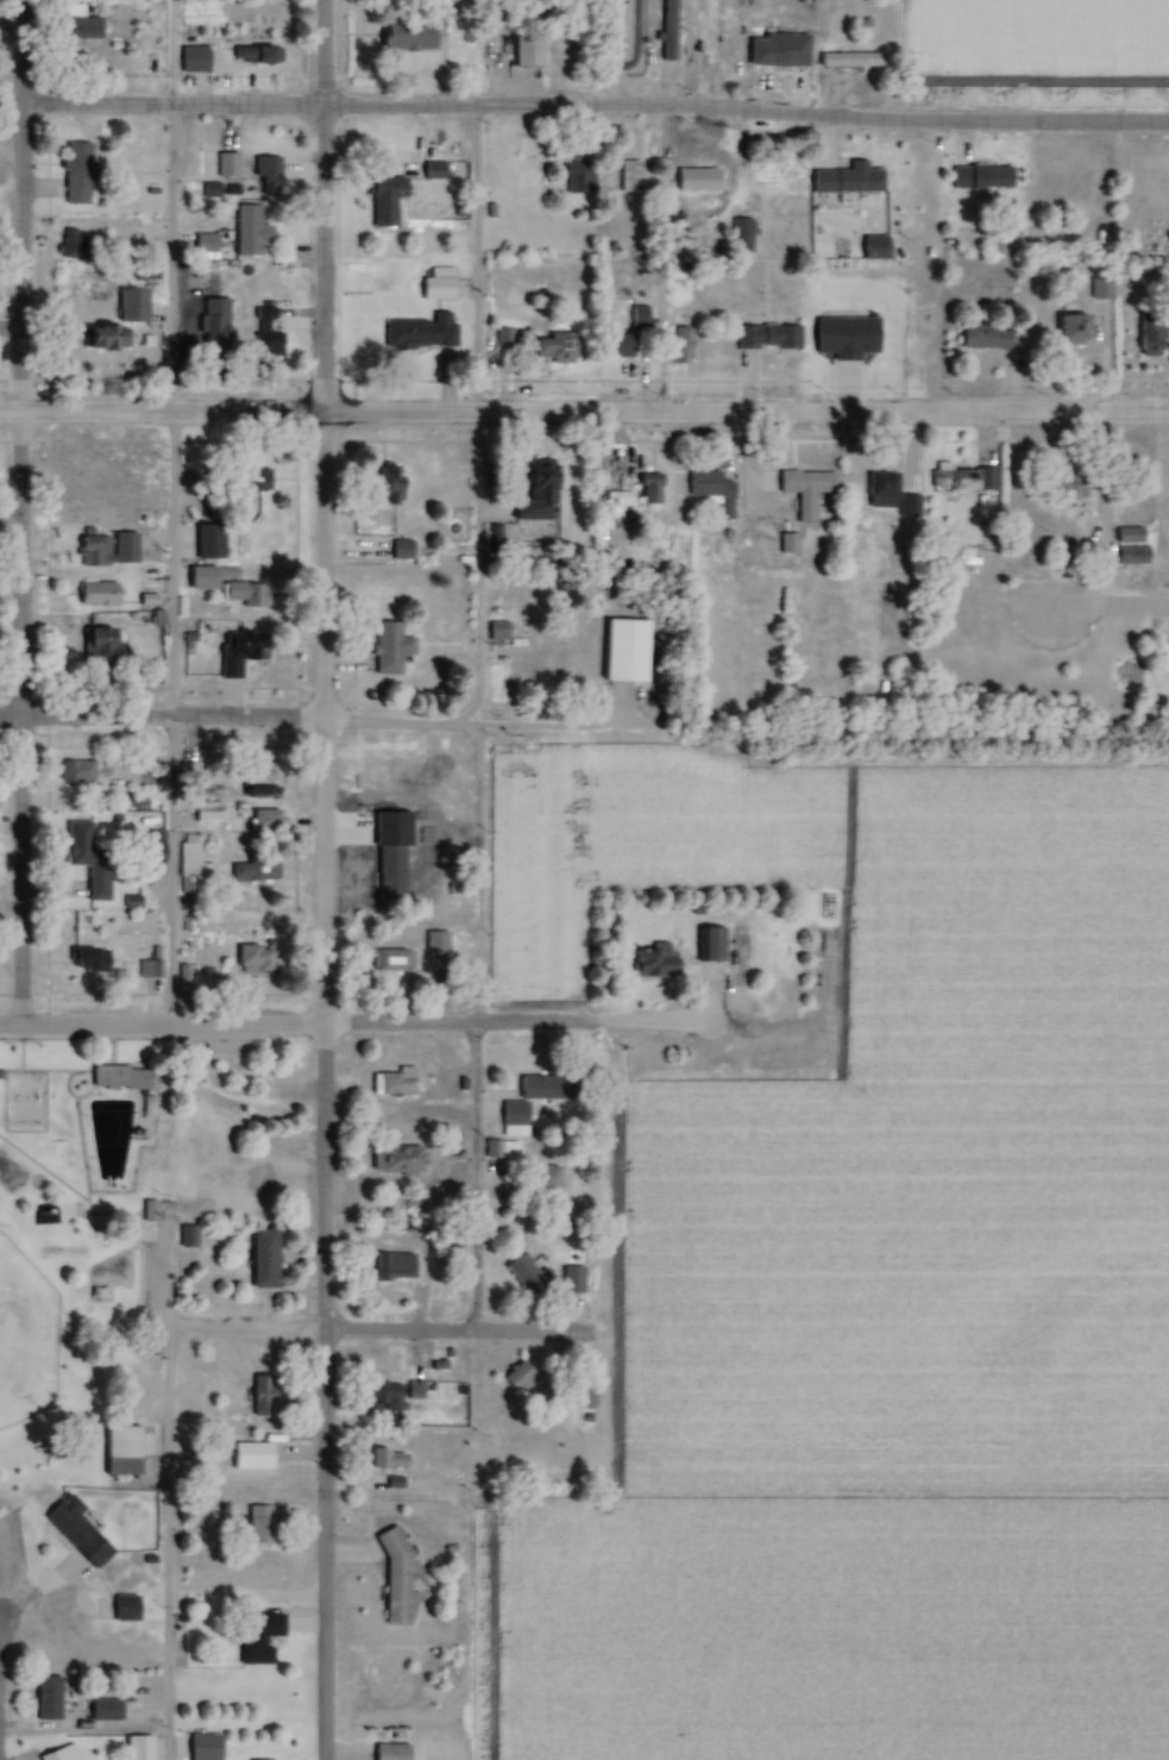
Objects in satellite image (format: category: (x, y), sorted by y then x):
building: (78, 30)
building: (667, 31)
building: (706, 32)
building: (408, 38)
building: (256, 56)
building: (190, 59)
building: (850, 61)
road: (595, 111)
building: (524, 149)
building: (225, 164)
building: (430, 171)
building: (696, 173)
building: (75, 174)
building: (264, 176)
building: (574, 177)
building: (629, 177)
building: (980, 177)
building: (842, 182)
building: (383, 188)
building: (247, 228)
building: (739, 236)
building: (75, 248)
building: (871, 249)
building: (193, 282)
building: (435, 284)
building: (1099, 289)
building: (128, 306)
building: (636, 317)
building: (213, 322)
building: (1067, 327)
building: (1145, 333)
building: (417, 334)
building: (96, 337)
building: (265, 337)
building: (765, 337)
building: (982, 337)
building: (508, 343)
building: (614, 345)
building: (677, 345)
building: (552, 347)
road: (584, 415)
building: (538, 478)
building: (250, 480)
building: (961, 480)
building: (385, 484)
building: (705, 484)
building: (1066, 486)
road: (474, 487)
building: (880, 488)
building: (647, 489)
building: (802, 490)
building: (616, 506)
building: (114, 507)
road: (169, 513)
road: (18, 514)
building: (206, 541)
building: (785, 544)
building: (105, 549)
building: (398, 550)
building: (197, 578)
building: (95, 594)
building: (243, 594)
road: (1095, 603)
building: (96, 643)
building: (621, 645)
building: (388, 649)
building: (238, 651)
building: (1168, 656)
road: (159, 718)
building: (74, 772)
building: (258, 776)
building: (205, 813)
building: (260, 820)
building: (147, 847)
building: (83, 859)
building: (190, 868)
building: (253, 870)
road: (320, 879)
building: (382, 901)
building: (434, 942)
building: (702, 952)
building: (251, 959)
building: (84, 960)
building: (390, 960)
building: (651, 960)
building: (149, 966)
road: (350, 1026)
building: (117, 1078)
building: (390, 1085)
building: (511, 1120)
crop: (887, 1120)
building: (501, 1152)
building: (394, 1160)
building: (258, 1177)
building: (455, 1178)
road: (473, 1178)
building: (542, 1184)
building: (186, 1236)
building: (259, 1260)
building: (389, 1265)
building: (524, 1277)
road: (395, 1333)
park: (25, 1339)
building: (515, 1379)
building: (259, 1397)
building: (379, 1397)
building: (583, 1398)
building: (120, 1451)
road: (614, 1454)
building: (250, 1455)
building: (384, 1459)
building: (256, 1526)
building: (75, 1533)
road: (165, 1543)
building: (392, 1577)
building: (122, 1610)
building: (251, 1640)
building: (45, 1699)
building: (102, 1711)
building: (391, 1753)
building: (58, 1754)

